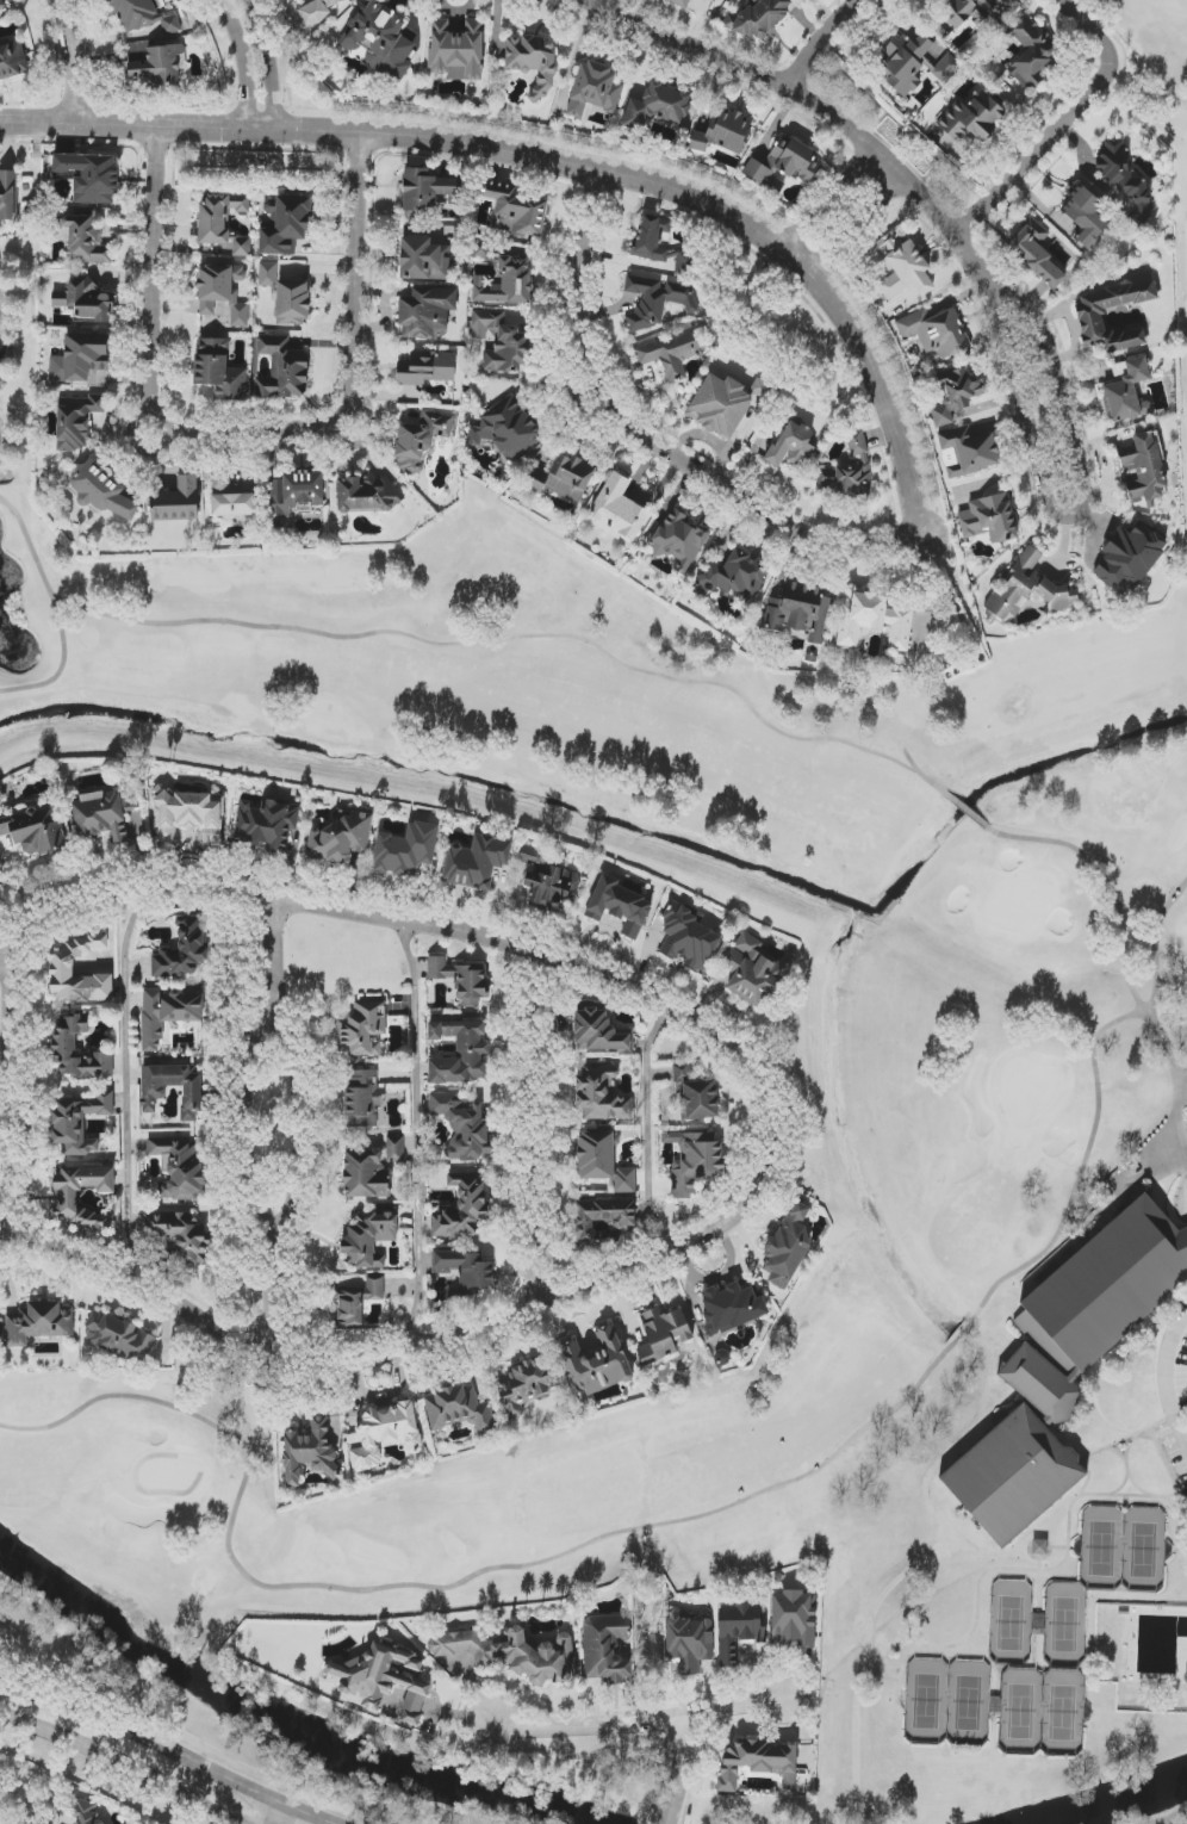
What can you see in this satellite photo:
road: (601, 2)
building: (680, 2)
building: (2, 6)
building: (317, 11)
building: (968, 11)
building: (758, 18)
building: (170, 25)
building: (380, 39)
road: (818, 41)
building: (458, 50)
building: (1030, 52)
road: (72, 58)
building: (13, 61)
road: (242, 62)
building: (533, 62)
road: (267, 63)
building: (915, 63)
building: (160, 66)
building: (593, 89)
road: (801, 97)
building: (658, 106)
building: (972, 117)
road: (1061, 123)
road: (303, 131)
building: (725, 132)
building: (784, 166)
building: (91, 176)
building: (1125, 178)
building: (425, 191)
road: (826, 194)
building: (8, 196)
building: (219, 216)
building: (1086, 216)
road: (859, 228)
building: (86, 241)
building: (657, 244)
building: (241, 247)
building: (1036, 254)
building: (424, 260)
building: (902, 266)
building: (268, 274)
building: (507, 284)
road: (828, 291)
building: (222, 292)
building: (81, 299)
building: (655, 300)
building: (292, 303)
building: (427, 312)
building: (1090, 318)
building: (936, 333)
building: (501, 342)
building: (670, 354)
building: (80, 358)
building: (425, 368)
building: (219, 370)
building: (282, 370)
building: (1127, 392)
building: (955, 395)
building: (722, 405)
building: (76, 421)
building: (507, 428)
road: (247, 435)
building: (421, 440)
road: (652, 442)
building: (791, 445)
building: (968, 452)
building: (864, 461)
building: (1143, 469)
building: (563, 478)
building: (104, 491)
building: (367, 492)
building: (178, 501)
building: (234, 504)
building: (617, 510)
road: (1077, 515)
building: (989, 519)
building: (679, 539)
building: (1130, 557)
building: (734, 577)
building: (1028, 589)
building: (802, 612)
building: (880, 621)
building: (189, 815)
building: (107, 817)
building: (267, 824)
building: (2, 831)
building: (38, 831)
building: (340, 838)
building: (406, 849)
building: (477, 862)
building: (548, 882)
park: (927, 886)
building: (0, 887)
building: (620, 906)
building: (688, 937)
building: (182, 950)
building: (62, 967)
building: (750, 970)
building: (461, 979)
building: (168, 1013)
building: (363, 1030)
building: (599, 1032)
building: (66, 1043)
building: (460, 1051)
building: (154, 1092)
building: (696, 1093)
building: (601, 1094)
building: (361, 1098)
road: (18, 1102)
road: (132, 1102)
building: (80, 1124)
building: (462, 1127)
road: (296, 1130)
road: (540, 1135)
road: (655, 1139)
road: (244, 1140)
building: (396, 1149)
road: (422, 1149)
road: (779, 1149)
building: (603, 1161)
building: (695, 1161)
building: (178, 1167)
building: (366, 1173)
building: (66, 1202)
building: (462, 1206)
building: (599, 1223)
building: (181, 1235)
building: (368, 1239)
building: (788, 1246)
building: (465, 1272)
building: (359, 1302)
building: (732, 1307)
building: (39, 1323)
building: (664, 1335)
building: (119, 1338)
building: (597, 1363)
building: (1065, 1365)
road: (1172, 1381)
building: (526, 1386)
building: (459, 1409)
building: (386, 1434)
road: (1183, 1441)
building: (312, 1450)
road: (1183, 1450)
park: (1126, 1550)
building: (794, 1618)
park: (1012, 1624)
park: (1067, 1627)
building: (740, 1630)
building: (690, 1643)
building: (605, 1649)
building: (512, 1652)
road: (860, 1674)
building: (380, 1680)
park: (947, 1701)
park: (1044, 1708)
road: (636, 1724)
road: (168, 1752)
building: (758, 1762)
road: (122, 1769)
road: (679, 1772)
road: (8, 1775)
road: (31, 1799)
building: (85, 1812)
road: (282, 1816)
road: (291, 1816)

